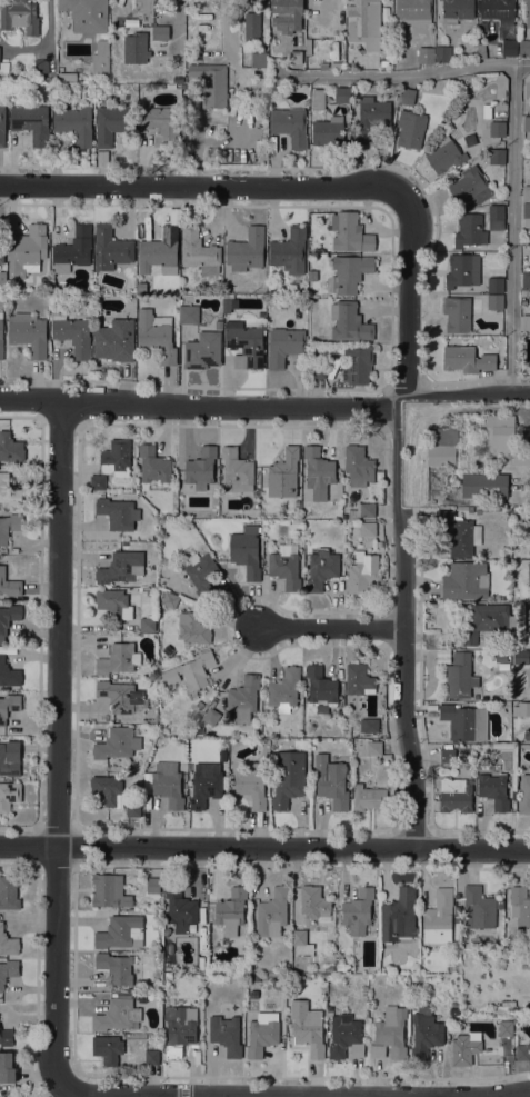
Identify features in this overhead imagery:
building: (146, 7)
building: (457, 10)
building: (498, 10)
building: (413, 11)
building: (87, 14)
building: (287, 14)
building: (528, 14)
building: (20, 16)
building: (364, 23)
road: (177, 27)
building: (252, 27)
road: (44, 38)
building: (146, 47)
building: (509, 47)
building: (524, 48)
building: (480, 50)
building: (442, 53)
building: (426, 54)
building: (296, 57)
building: (100, 58)
building: (259, 59)
building: (336, 64)
road: (522, 64)
building: (41, 66)
building: (4, 67)
building: (73, 76)
road: (394, 79)
building: (211, 83)
building: (342, 94)
building: (404, 96)
building: (318, 99)
building: (371, 117)
building: (31, 122)
building: (74, 123)
building: (113, 123)
building: (2, 124)
building: (162, 124)
building: (290, 126)
building: (527, 126)
building: (497, 128)
building: (411, 129)
building: (330, 132)
building: (469, 139)
building: (446, 154)
building: (497, 156)
building: (470, 186)
road: (197, 189)
building: (527, 190)
building: (527, 213)
building: (496, 217)
road: (513, 229)
building: (470, 230)
building: (350, 232)
building: (111, 248)
building: (73, 249)
building: (246, 249)
building: (27, 250)
building: (159, 250)
building: (2, 251)
building: (199, 251)
building: (290, 252)
building: (461, 270)
building: (350, 272)
building: (2, 277)
building: (526, 279)
building: (496, 285)
road: (409, 287)
building: (524, 292)
building: (496, 301)
building: (227, 302)
building: (460, 312)
building: (189, 313)
building: (261, 313)
building: (349, 322)
building: (526, 322)
building: (29, 332)
building: (72, 333)
building: (156, 336)
building: (1, 337)
building: (319, 337)
building: (114, 340)
building: (246, 346)
building: (283, 346)
building: (203, 350)
building: (468, 357)
building: (357, 363)
building: (528, 367)
building: (317, 368)
road: (266, 405)
building: (526, 436)
building: (504, 439)
building: (443, 447)
building: (10, 448)
building: (116, 458)
building: (358, 465)
building: (154, 467)
building: (201, 468)
building: (237, 470)
building: (318, 472)
building: (283, 473)
building: (379, 476)
building: (98, 482)
building: (484, 485)
building: (9, 491)
building: (466, 507)
building: (366, 509)
building: (118, 513)
building: (9, 526)
building: (368, 528)
building: (459, 532)
building: (529, 550)
building: (246, 551)
building: (286, 566)
building: (121, 567)
building: (321, 568)
building: (362, 571)
building: (201, 572)
building: (529, 572)
building: (466, 580)
building: (9, 584)
building: (170, 599)
building: (113, 602)
building: (8, 618)
building: (490, 620)
building: (148, 624)
road: (403, 625)
building: (193, 628)
road: (333, 629)
building: (501, 656)
building: (520, 657)
building: (119, 658)
building: (503, 666)
building: (190, 671)
building: (9, 672)
building: (460, 675)
building: (359, 679)
building: (321, 685)
building: (284, 689)
building: (119, 695)
building: (243, 698)
building: (9, 706)
building: (321, 708)
building: (521, 709)
building: (211, 716)
building: (464, 721)
building: (369, 725)
building: (198, 729)
building: (527, 734)
building: (117, 742)
road: (58, 745)
building: (373, 748)
building: (10, 759)
building: (288, 777)
building: (331, 781)
building: (252, 784)
building: (168, 785)
building: (453, 785)
building: (107, 787)
building: (204, 787)
building: (494, 790)
building: (9, 795)
building: (524, 795)
building: (369, 798)
building: (132, 808)
road: (264, 848)
building: (153, 885)
building: (109, 890)
building: (9, 891)
building: (313, 901)
building: (521, 906)
building: (478, 908)
building: (180, 909)
building: (231, 910)
building: (358, 910)
building: (272, 912)
building: (399, 916)
building: (439, 917)
building: (121, 931)
building: (299, 937)
building: (8, 943)
building: (116, 967)
building: (329, 968)
building: (8, 970)
building: (117, 1015)
building: (179, 1028)
building: (506, 1028)
building: (310, 1031)
building: (424, 1033)
building: (226, 1034)
building: (390, 1034)
building: (344, 1036)
building: (7, 1037)
building: (261, 1037)
building: (466, 1047)
building: (108, 1048)
building: (151, 1057)
building: (521, 1057)
building: (7, 1067)
road: (508, 1093)
road: (217, 1095)
road: (162, 1096)

